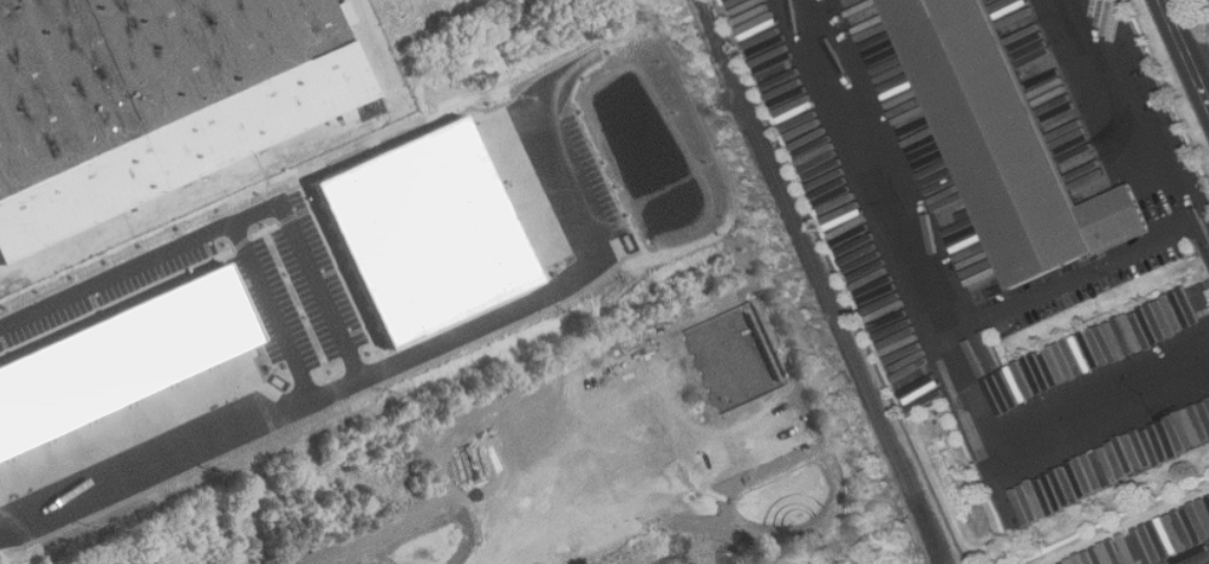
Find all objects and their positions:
railway: (715, 33)
road: (1186, 50)
road: (1201, 58)
building: (151, 99)
building: (1008, 145)
road: (870, 164)
road: (1203, 219)
road: (1188, 220)
railway: (821, 281)
road: (339, 325)
road: (1043, 429)
railway: (929, 534)

